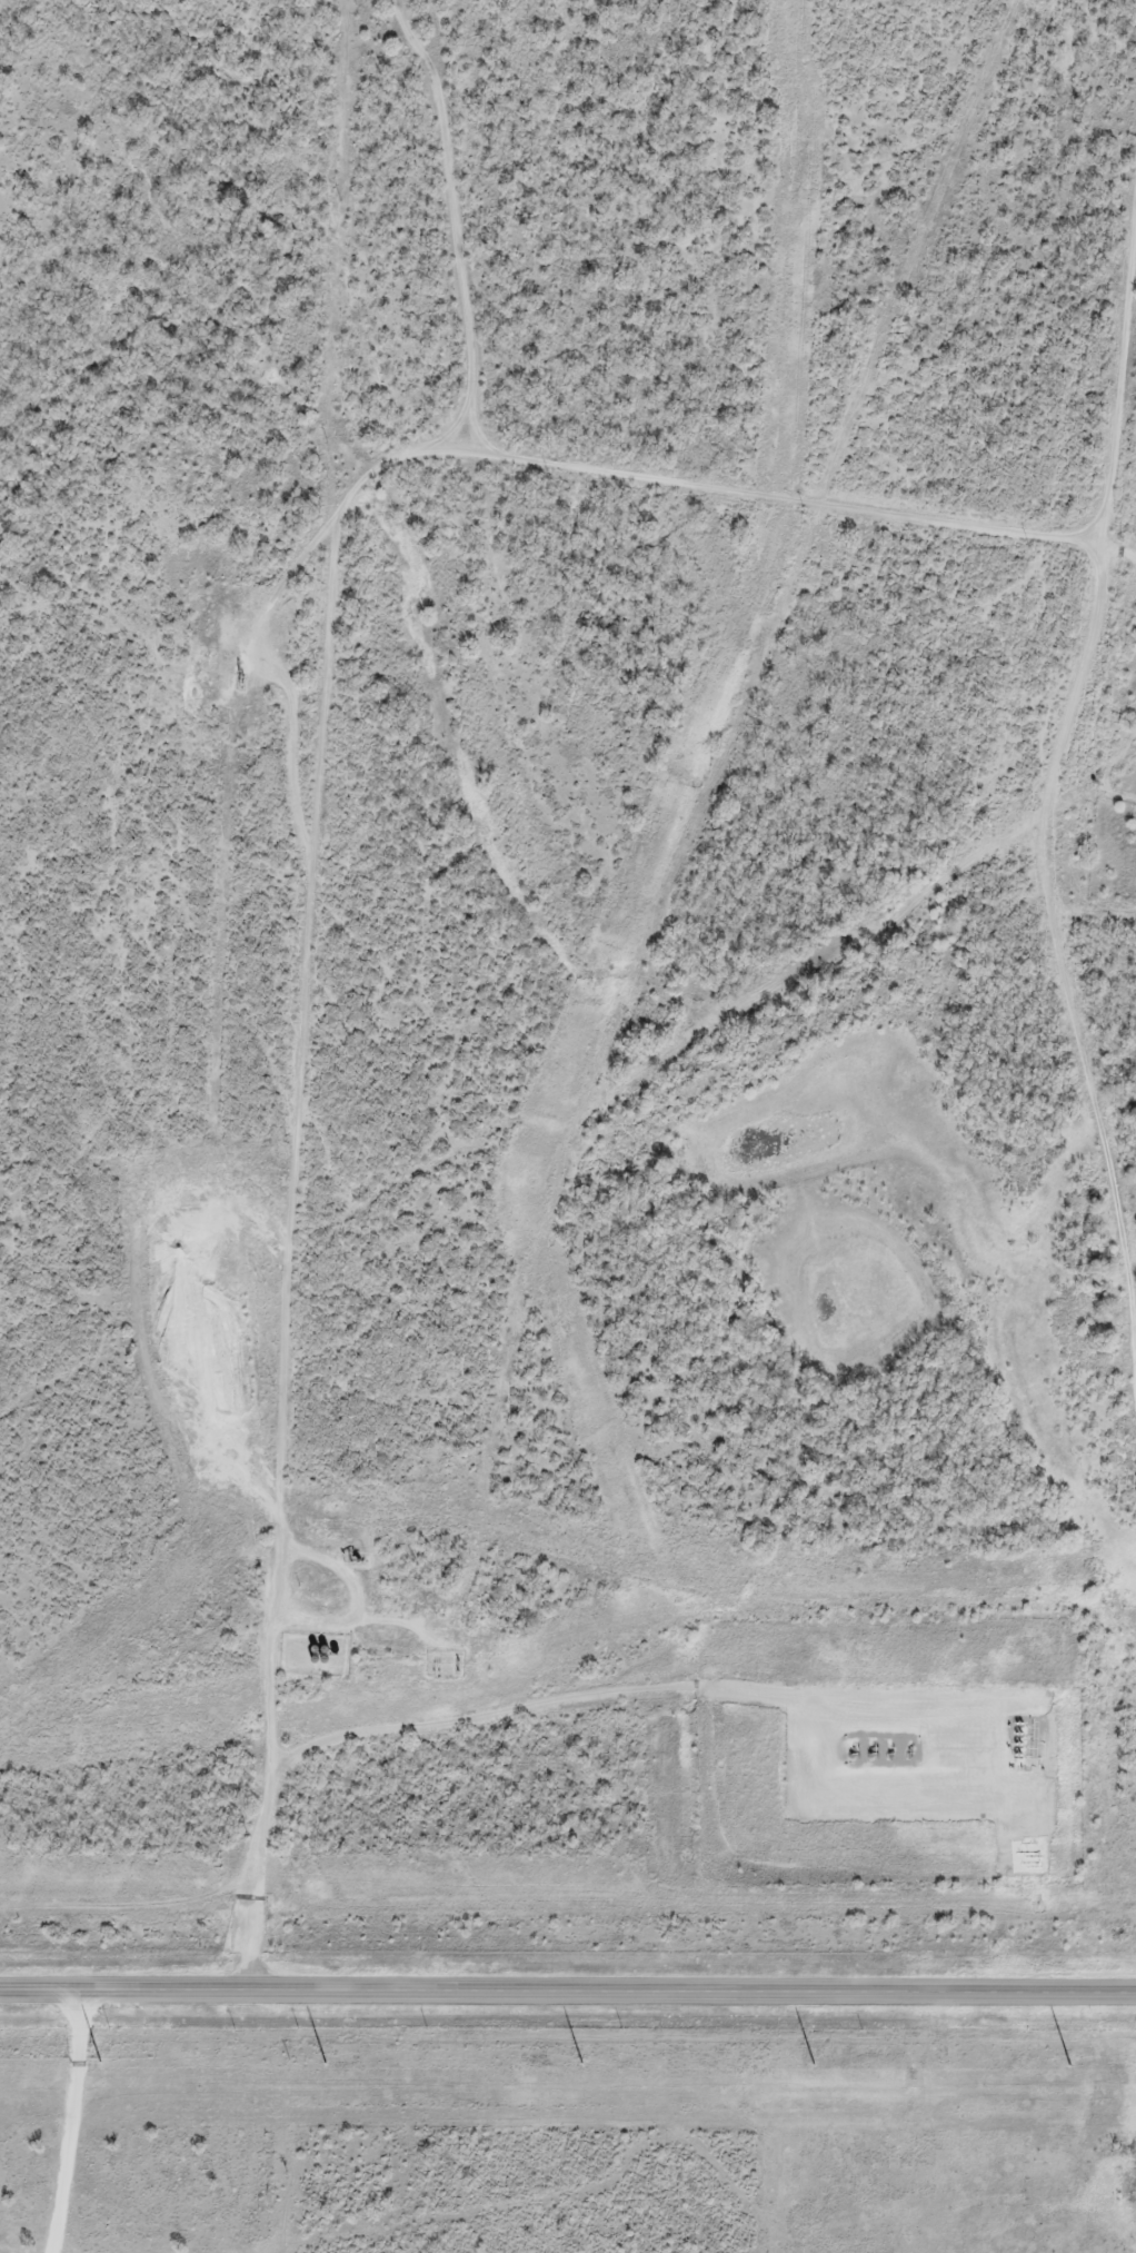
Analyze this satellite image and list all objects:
road: (568, 1987)
power tower: (100, 2061)
power tower: (322, 2062)
power tower: (582, 2062)
power tower: (815, 2062)
power tower: (1070, 2063)

